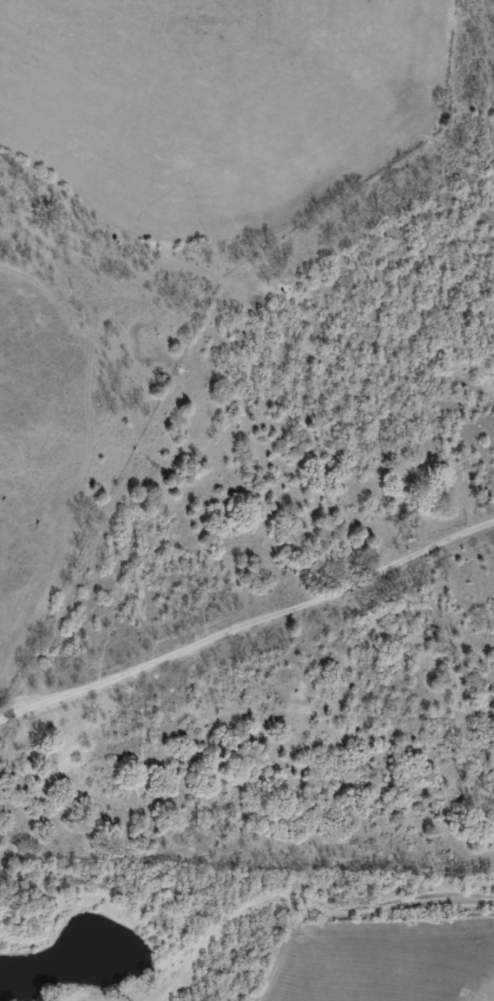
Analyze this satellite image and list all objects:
road: (247, 645)

